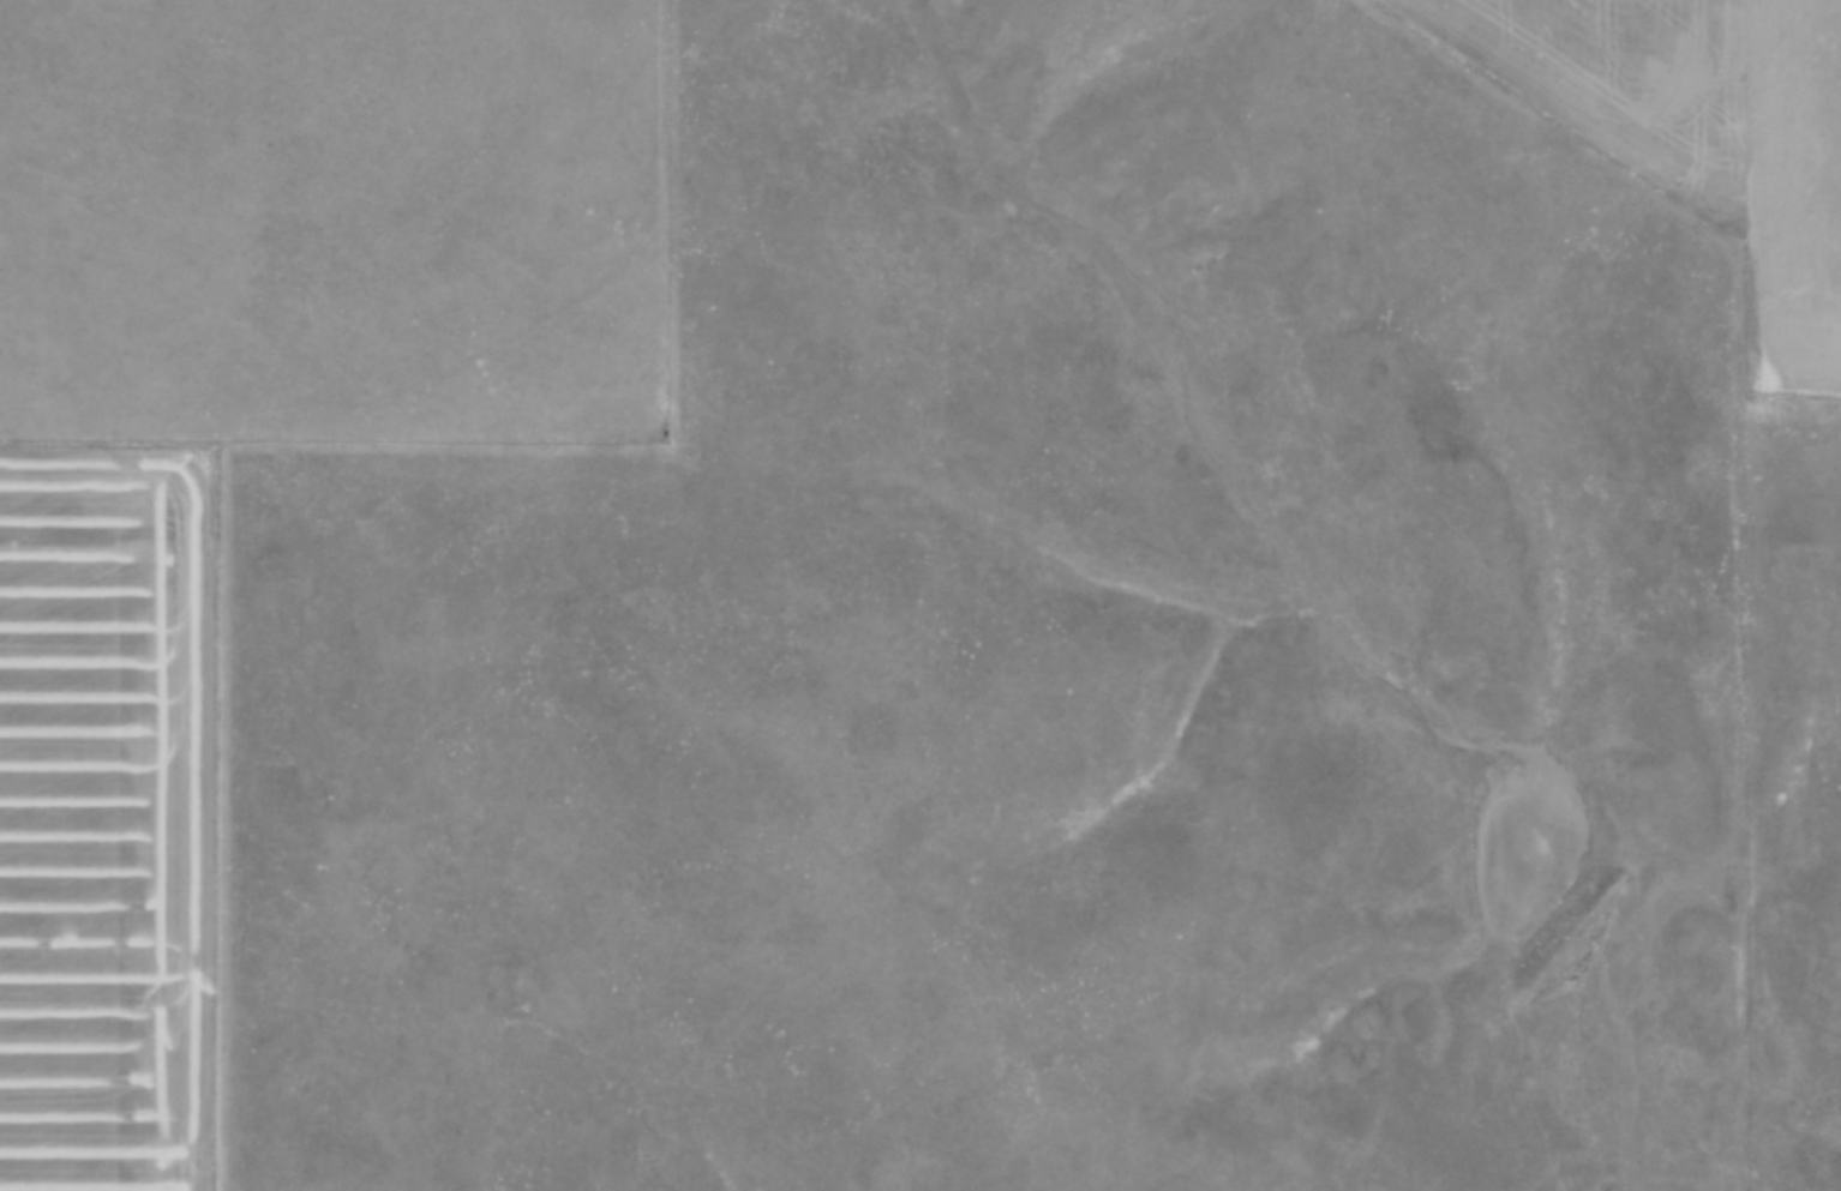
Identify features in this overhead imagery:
crop: (1696, 130)
crop: (102, 824)

